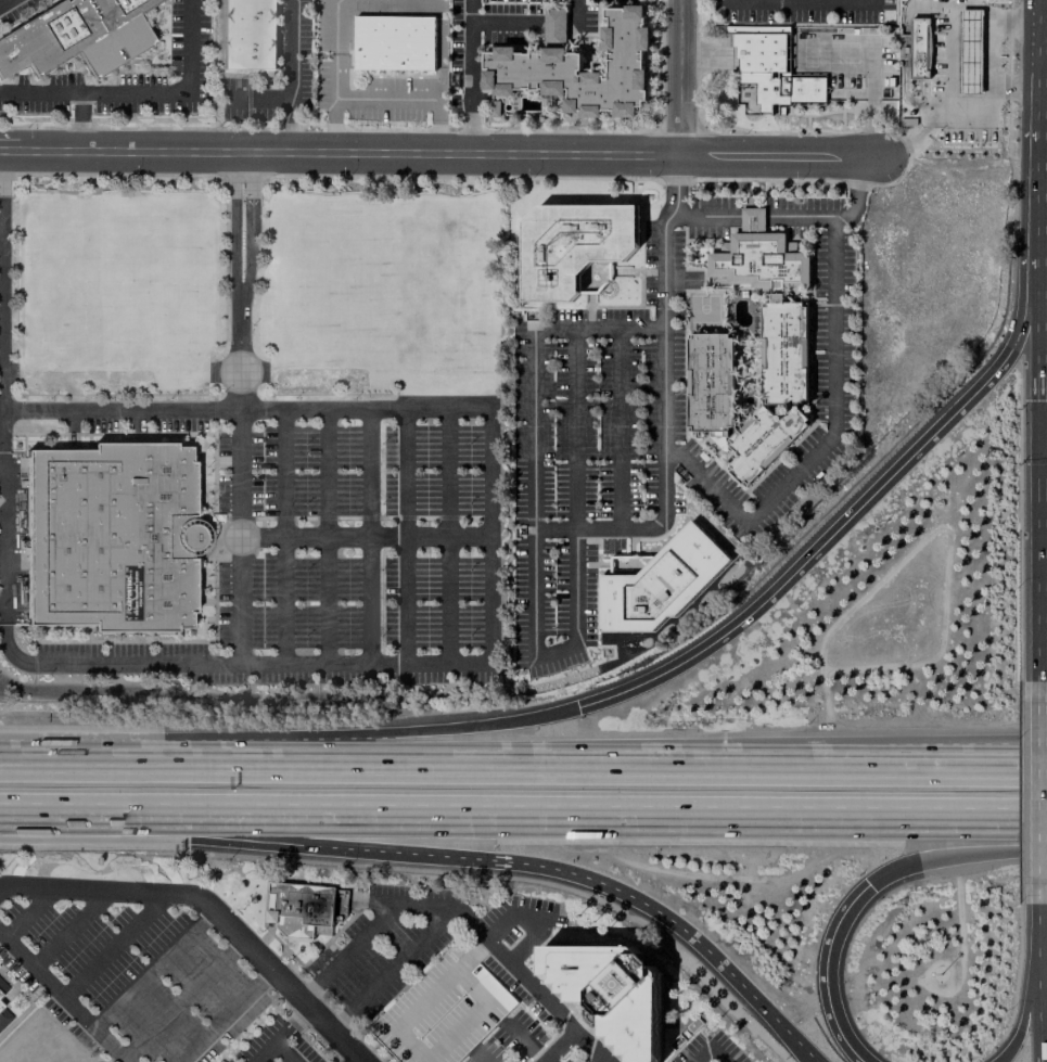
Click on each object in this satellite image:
road: (801, 0)
road: (3, 2)
road: (334, 20)
building: (250, 35)
building: (77, 36)
building: (395, 43)
building: (917, 49)
building: (970, 52)
road: (988, 56)
building: (579, 66)
road: (334, 67)
road: (947, 67)
building: (774, 68)
road: (295, 76)
road: (470, 76)
road: (686, 77)
road: (140, 94)
road: (385, 94)
road: (259, 100)
road: (81, 121)
road: (334, 123)
road: (436, 124)
road: (914, 137)
road: (1042, 149)
road: (440, 152)
road: (858, 180)
road: (676, 184)
road: (755, 216)
building: (575, 248)
road: (241, 280)
park: (264, 287)
building: (773, 303)
road: (1023, 332)
road: (1042, 335)
road: (533, 363)
road: (663, 369)
building: (711, 383)
traffic signals: (1045, 399)
road: (1044, 405)
road: (365, 408)
road: (120, 410)
road: (617, 427)
road: (573, 428)
road: (832, 430)
road: (1045, 437)
building: (763, 442)
road: (598, 528)
road: (241, 536)
road: (282, 536)
road: (325, 536)
road: (367, 536)
road: (405, 536)
road: (447, 536)
building: (110, 537)
road: (367, 537)
parking lot: (345, 551)
road: (805, 553)
road: (1045, 560)
building: (623, 564)
building: (661, 585)
road: (1, 596)
road: (551, 651)
road: (137, 663)
road: (493, 664)
traffic signals: (579, 703)
road: (469, 726)
road: (1032, 760)
road: (180, 762)
road: (560, 762)
road: (889, 764)
road: (1032, 764)
road: (1046, 793)
road: (523, 821)
road: (280, 843)
road: (953, 857)
traffic signals: (867, 891)
road: (443, 908)
road: (209, 909)
building: (301, 909)
road: (1046, 911)
road: (26, 913)
road: (675, 921)
road: (69, 930)
road: (496, 931)
road: (113, 945)
road: (153, 970)
road: (831, 977)
building: (2, 988)
parking lot: (526, 989)
building: (611, 993)
road: (63, 997)
road: (181, 999)
road: (1027, 1001)
building: (444, 1011)
parking garage: (444, 1011)
building: (3, 1016)
road: (225, 1016)
road: (298, 1016)
road: (282, 1033)
road: (582, 1038)
road: (523, 1040)
road: (560, 1047)
parking lot: (707, 1049)
road: (265, 1051)
road: (286, 1051)
road: (712, 1051)
road: (478, 1055)

